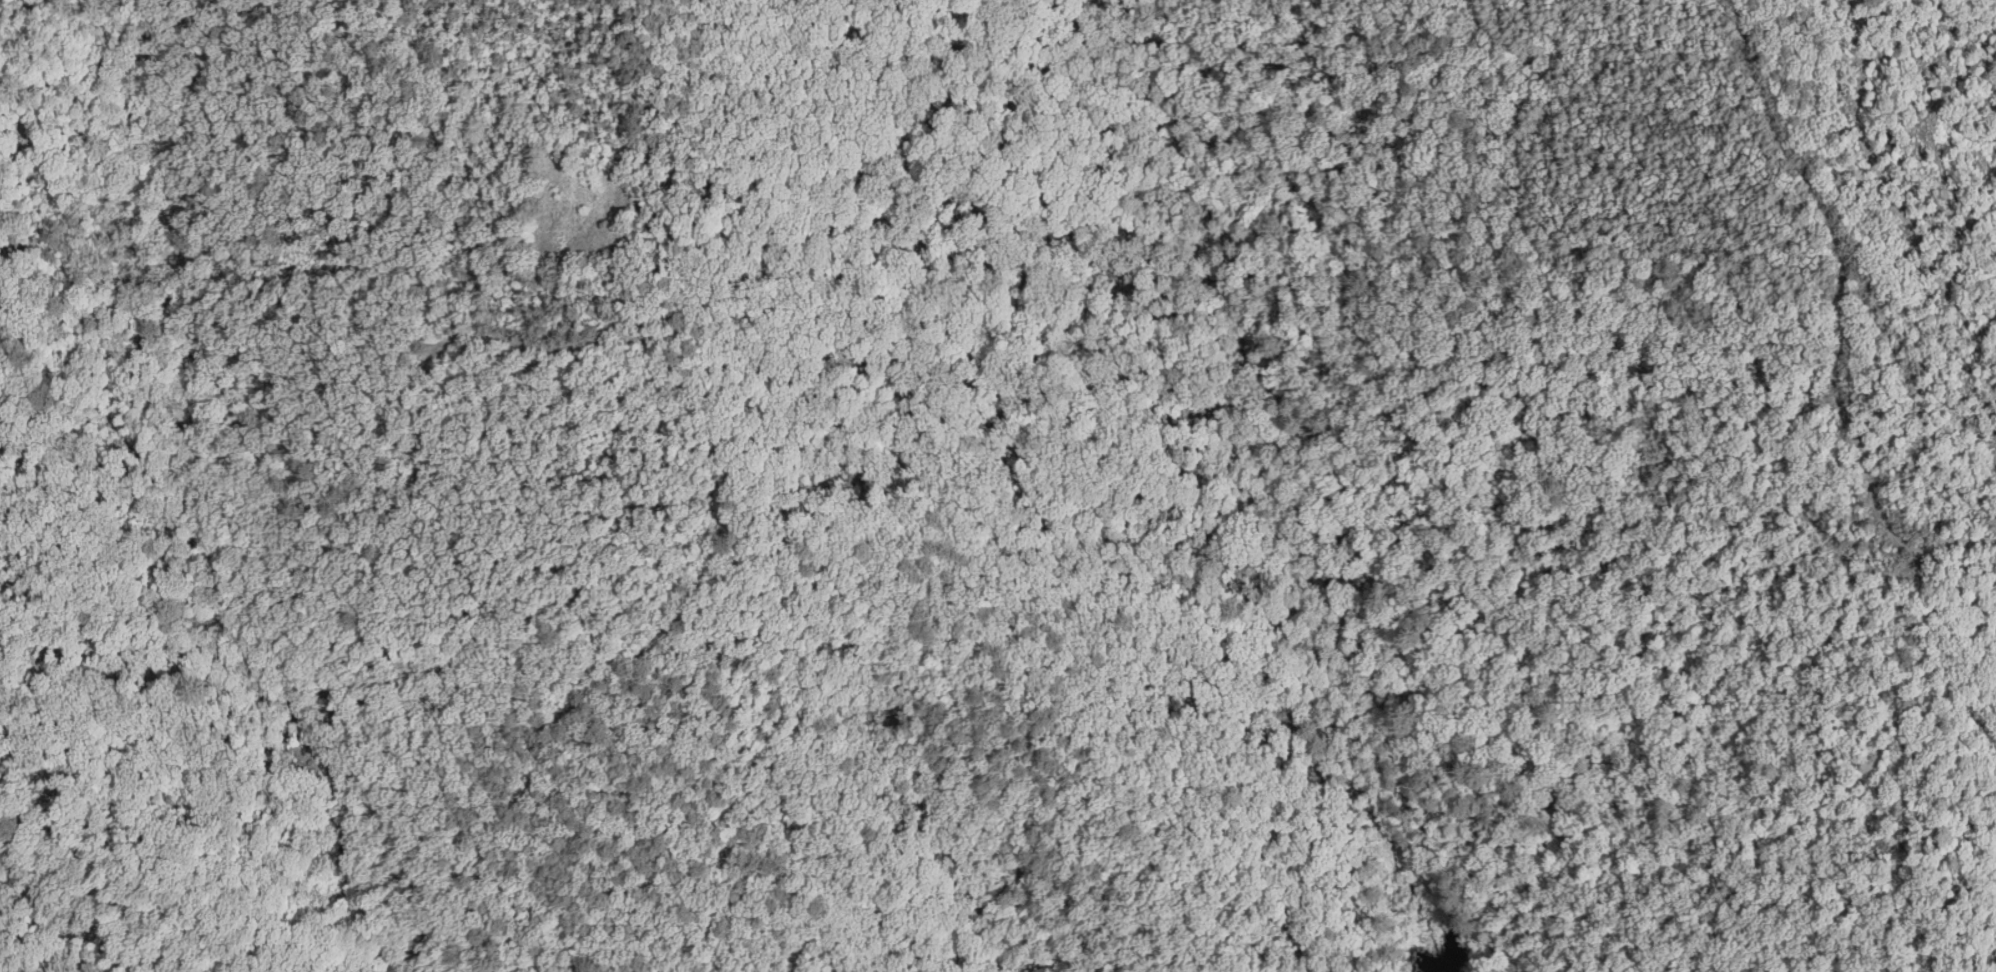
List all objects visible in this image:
road: (1841, 282)

